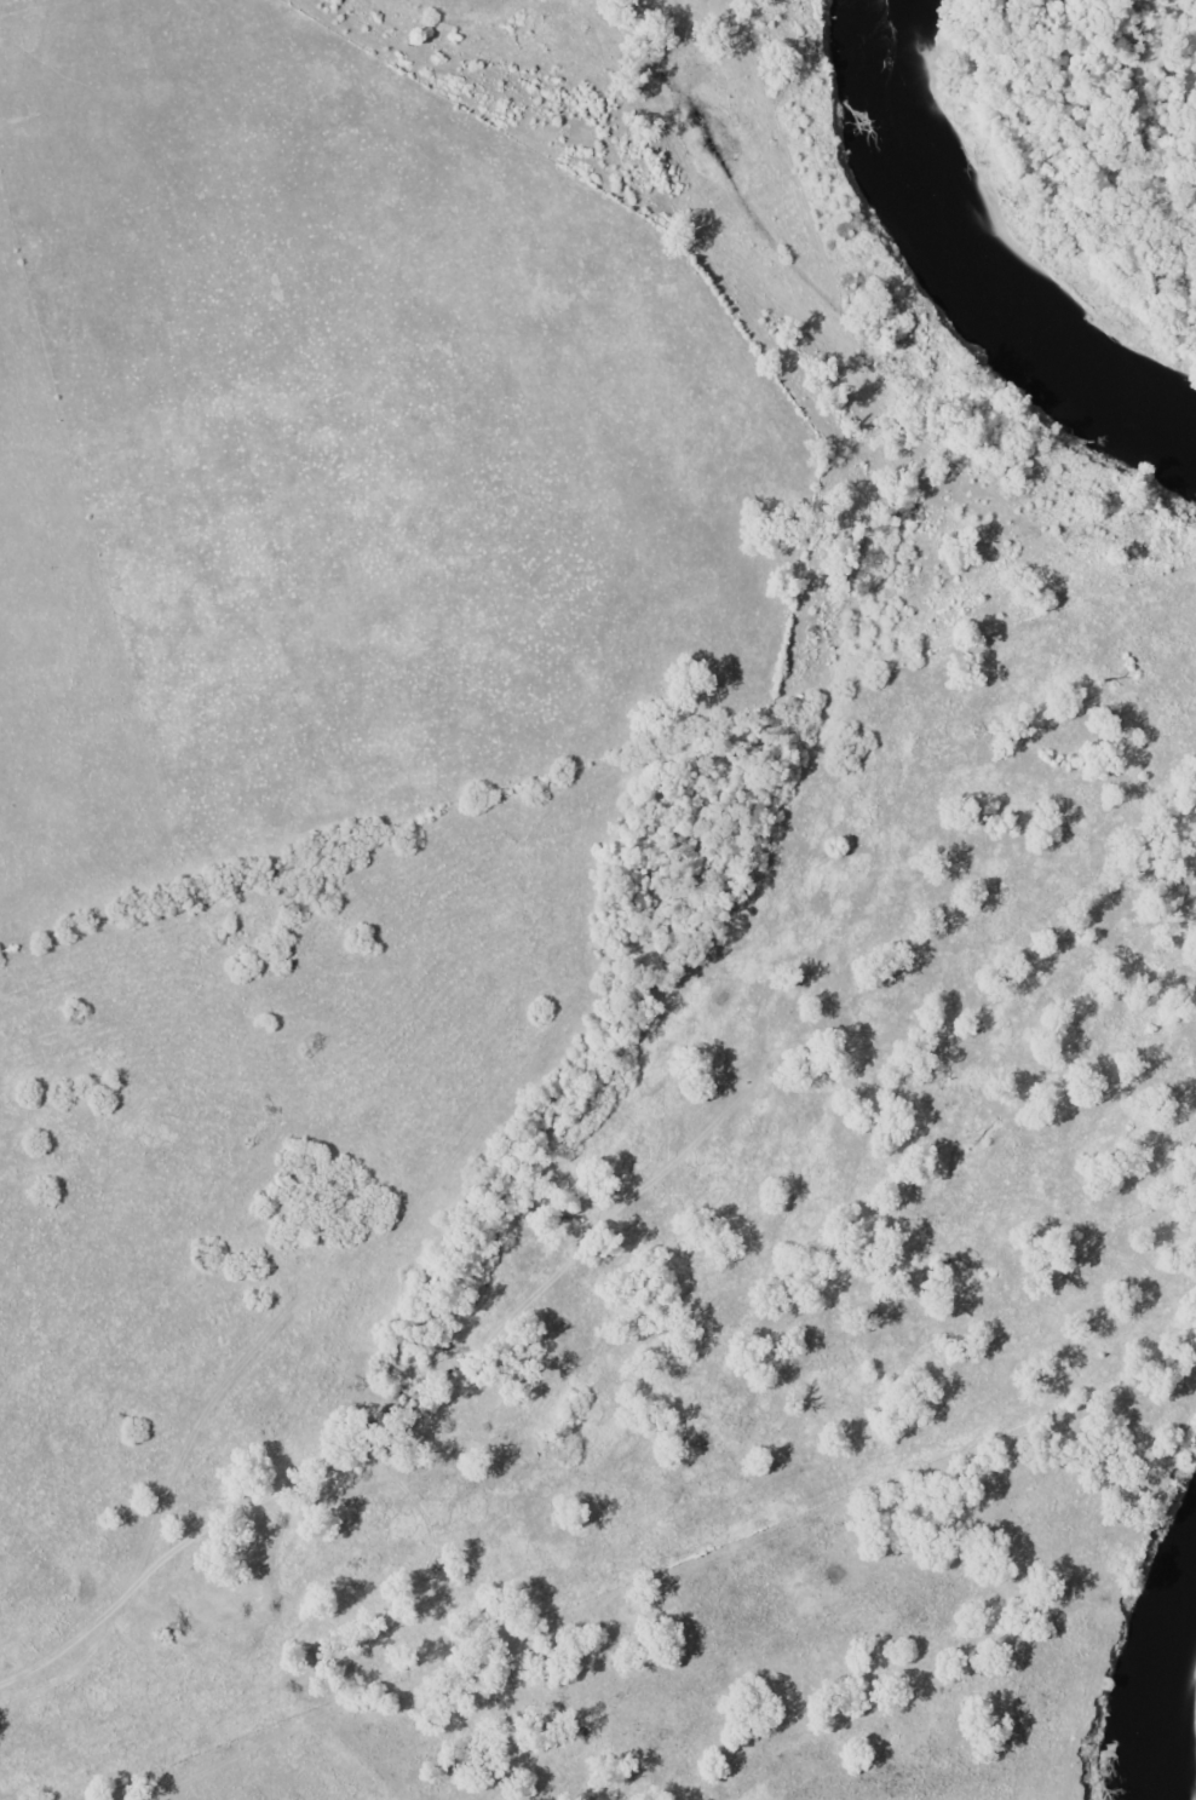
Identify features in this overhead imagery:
river: (993, 249)
river: (1185, 1656)
river: (1177, 1743)

